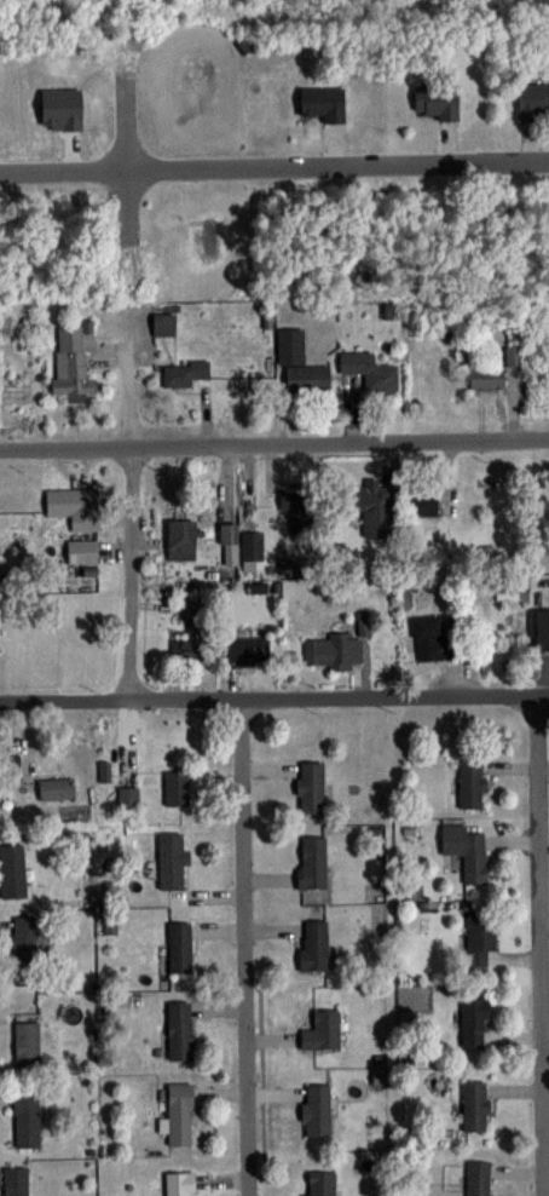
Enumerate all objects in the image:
building: (323, 102)
building: (435, 102)
building: (533, 102)
road: (274, 166)
building: (163, 323)
building: (70, 362)
building: (300, 363)
building: (371, 372)
building: (184, 373)
building: (486, 380)
road: (273, 441)
building: (69, 502)
building: (421, 504)
building: (374, 507)
building: (180, 540)
building: (81, 551)
road: (127, 571)
building: (542, 628)
building: (435, 637)
building: (247, 649)
building: (186, 650)
building: (334, 650)
road: (274, 695)
building: (10, 763)
building: (470, 783)
building: (310, 786)
building: (175, 787)
building: (56, 788)
building: (127, 794)
building: (474, 857)
building: (171, 859)
building: (311, 861)
building: (11, 870)
building: (479, 941)
road: (536, 943)
building: (313, 944)
road: (239, 945)
building: (179, 947)
building: (24, 949)
building: (474, 1020)
building: (179, 1029)
building: (322, 1030)
building: (27, 1042)
building: (474, 1105)
building: (316, 1109)
building: (178, 1114)
building: (27, 1120)
building: (476, 1178)
building: (16, 1180)
building: (179, 1183)
building: (319, 1183)

